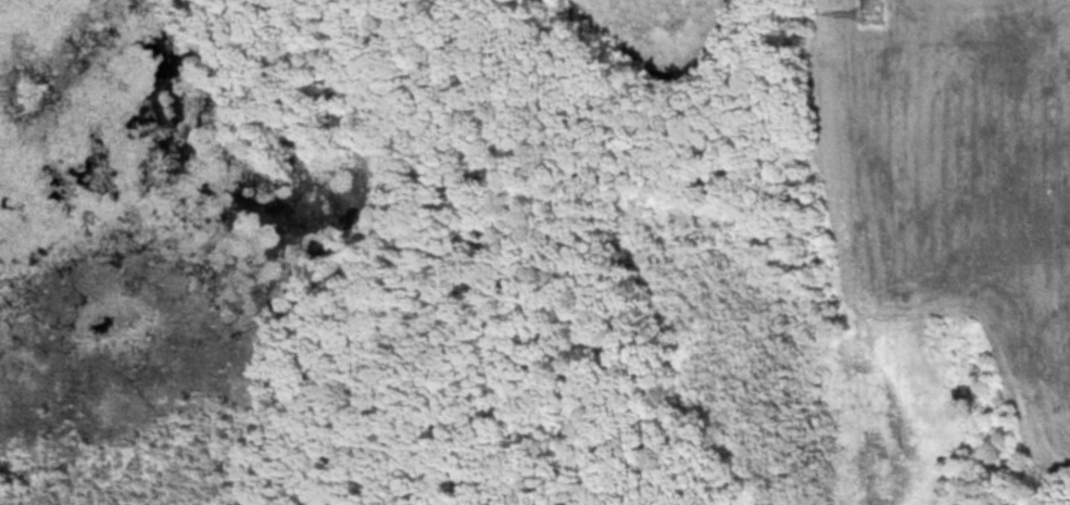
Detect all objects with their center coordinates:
power tower: (873, 13)
park: (446, 253)

